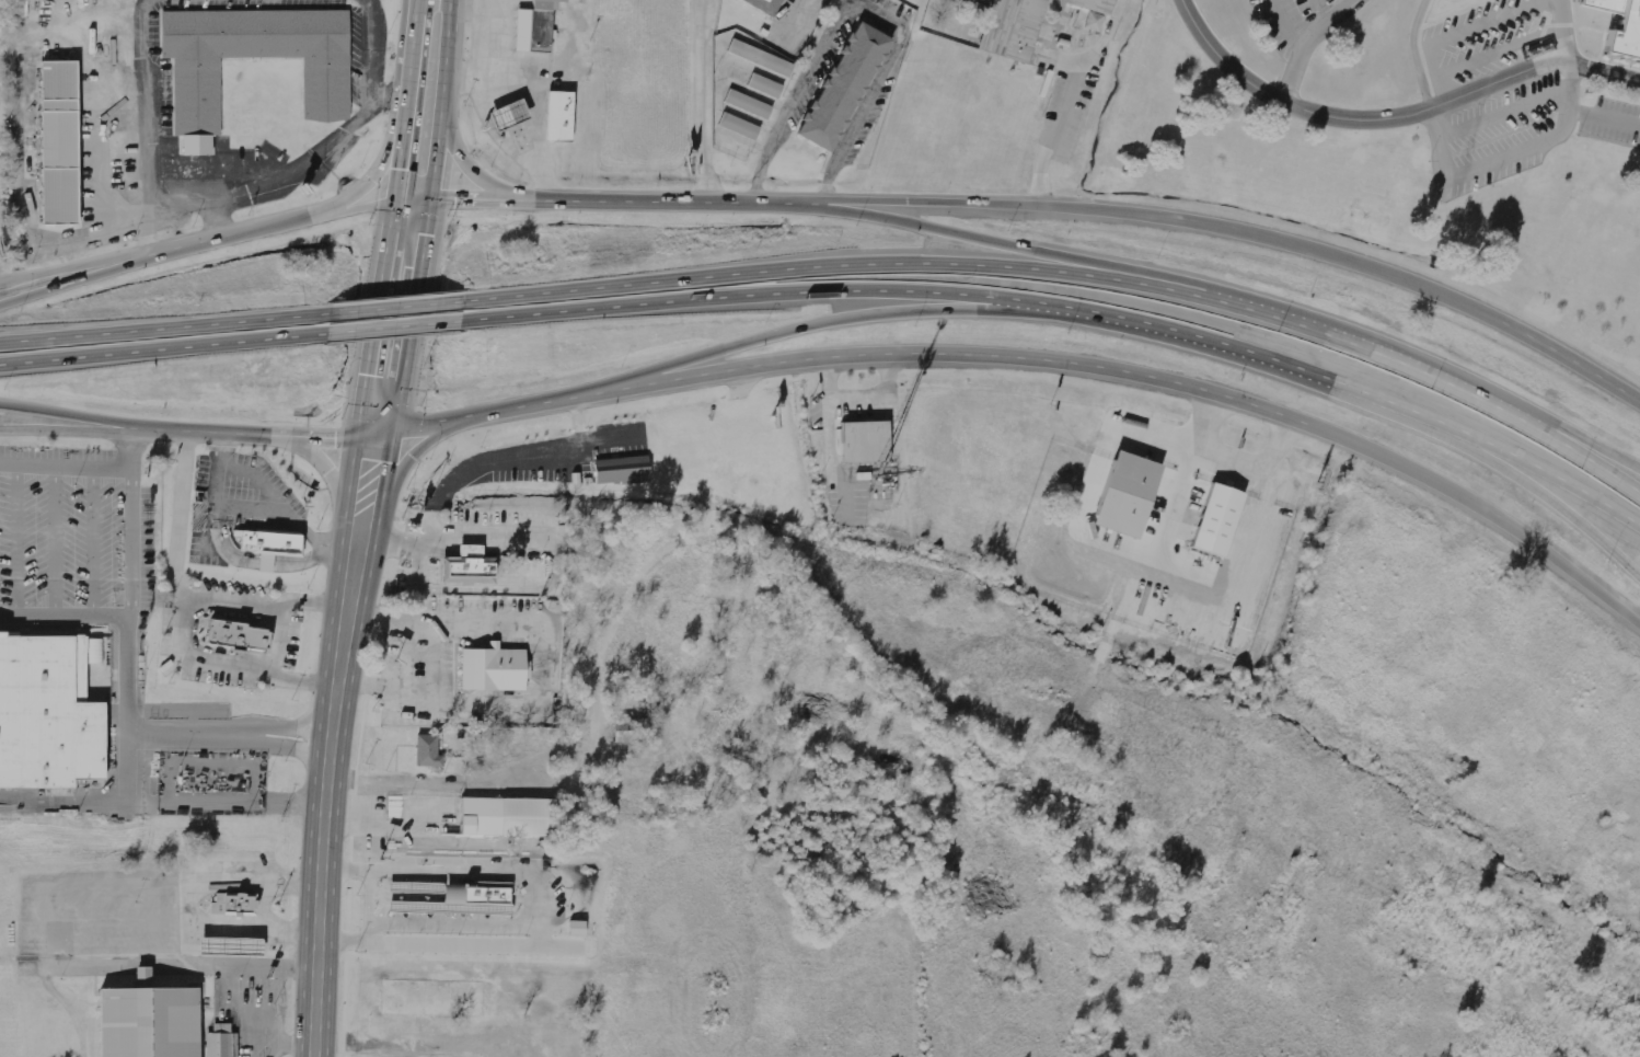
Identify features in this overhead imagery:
building: (763, 4)
building: (982, 11)
building: (1092, 11)
building: (1622, 26)
building: (534, 27)
building: (1012, 28)
road: (1306, 43)
building: (758, 58)
building: (763, 87)
building: (845, 89)
building: (195, 91)
road: (441, 99)
road: (703, 101)
building: (747, 105)
building: (506, 114)
gas station: (506, 114)
building: (554, 116)
road: (1391, 117)
building: (737, 127)
building: (59, 143)
road: (372, 165)
road: (474, 171)
traffic signals: (394, 195)
traffic signals: (430, 198)
road: (602, 200)
road: (390, 220)
road: (1225, 231)
road: (215, 238)
road: (1043, 254)
road: (890, 266)
road: (77, 282)
road: (818, 292)
road: (400, 309)
road: (411, 314)
road: (868, 318)
road: (164, 329)
road: (400, 329)
road: (162, 349)
road: (1273, 361)
road: (1410, 369)
road: (1143, 378)
road: (82, 416)
road: (470, 416)
road: (176, 432)
traffic signals: (394, 432)
traffic signals: (354, 440)
building: (866, 445)
road: (1577, 446)
road: (556, 451)
road: (412, 456)
road: (1516, 458)
road: (1577, 458)
road: (321, 461)
building: (620, 473)
road: (1521, 481)
road: (441, 493)
building: (1213, 520)
building: (268, 542)
road: (372, 552)
road: (338, 554)
building: (465, 565)
road: (183, 617)
road: (412, 621)
building: (236, 636)
building: (493, 670)
road: (129, 681)
building: (47, 715)
building: (634, 732)
building: (428, 751)
building: (507, 818)
road: (322, 863)
building: (488, 899)
building: (233, 905)
building: (578, 929)
building: (149, 1021)
building: (222, 1027)
building: (217, 1045)

